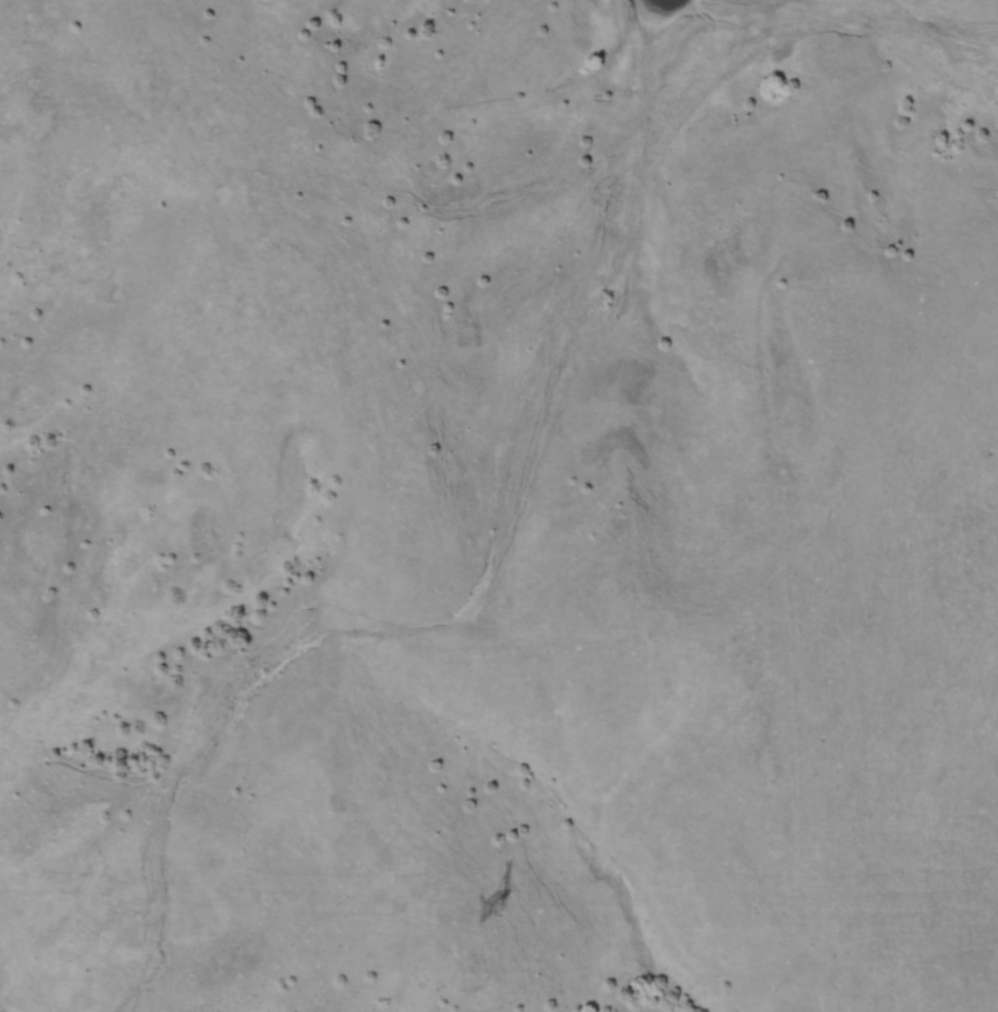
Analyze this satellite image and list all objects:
power tower: (493, 910)

